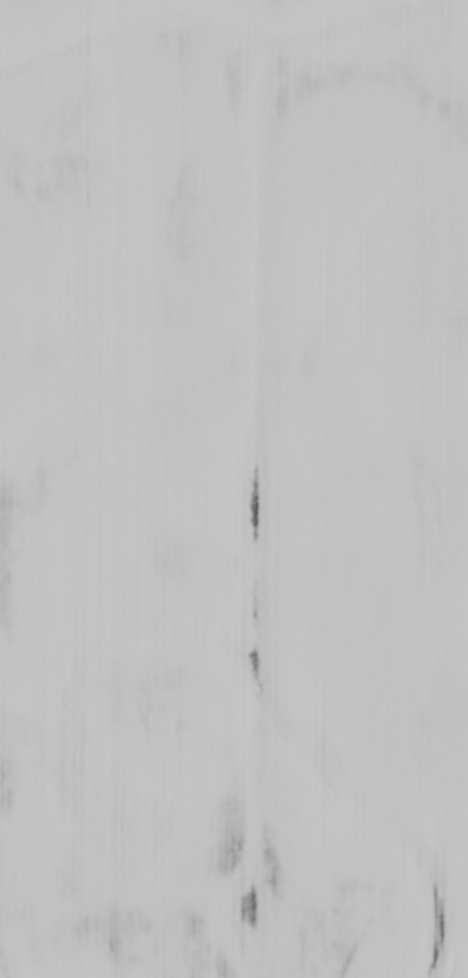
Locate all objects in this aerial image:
crop: (234, 489)

